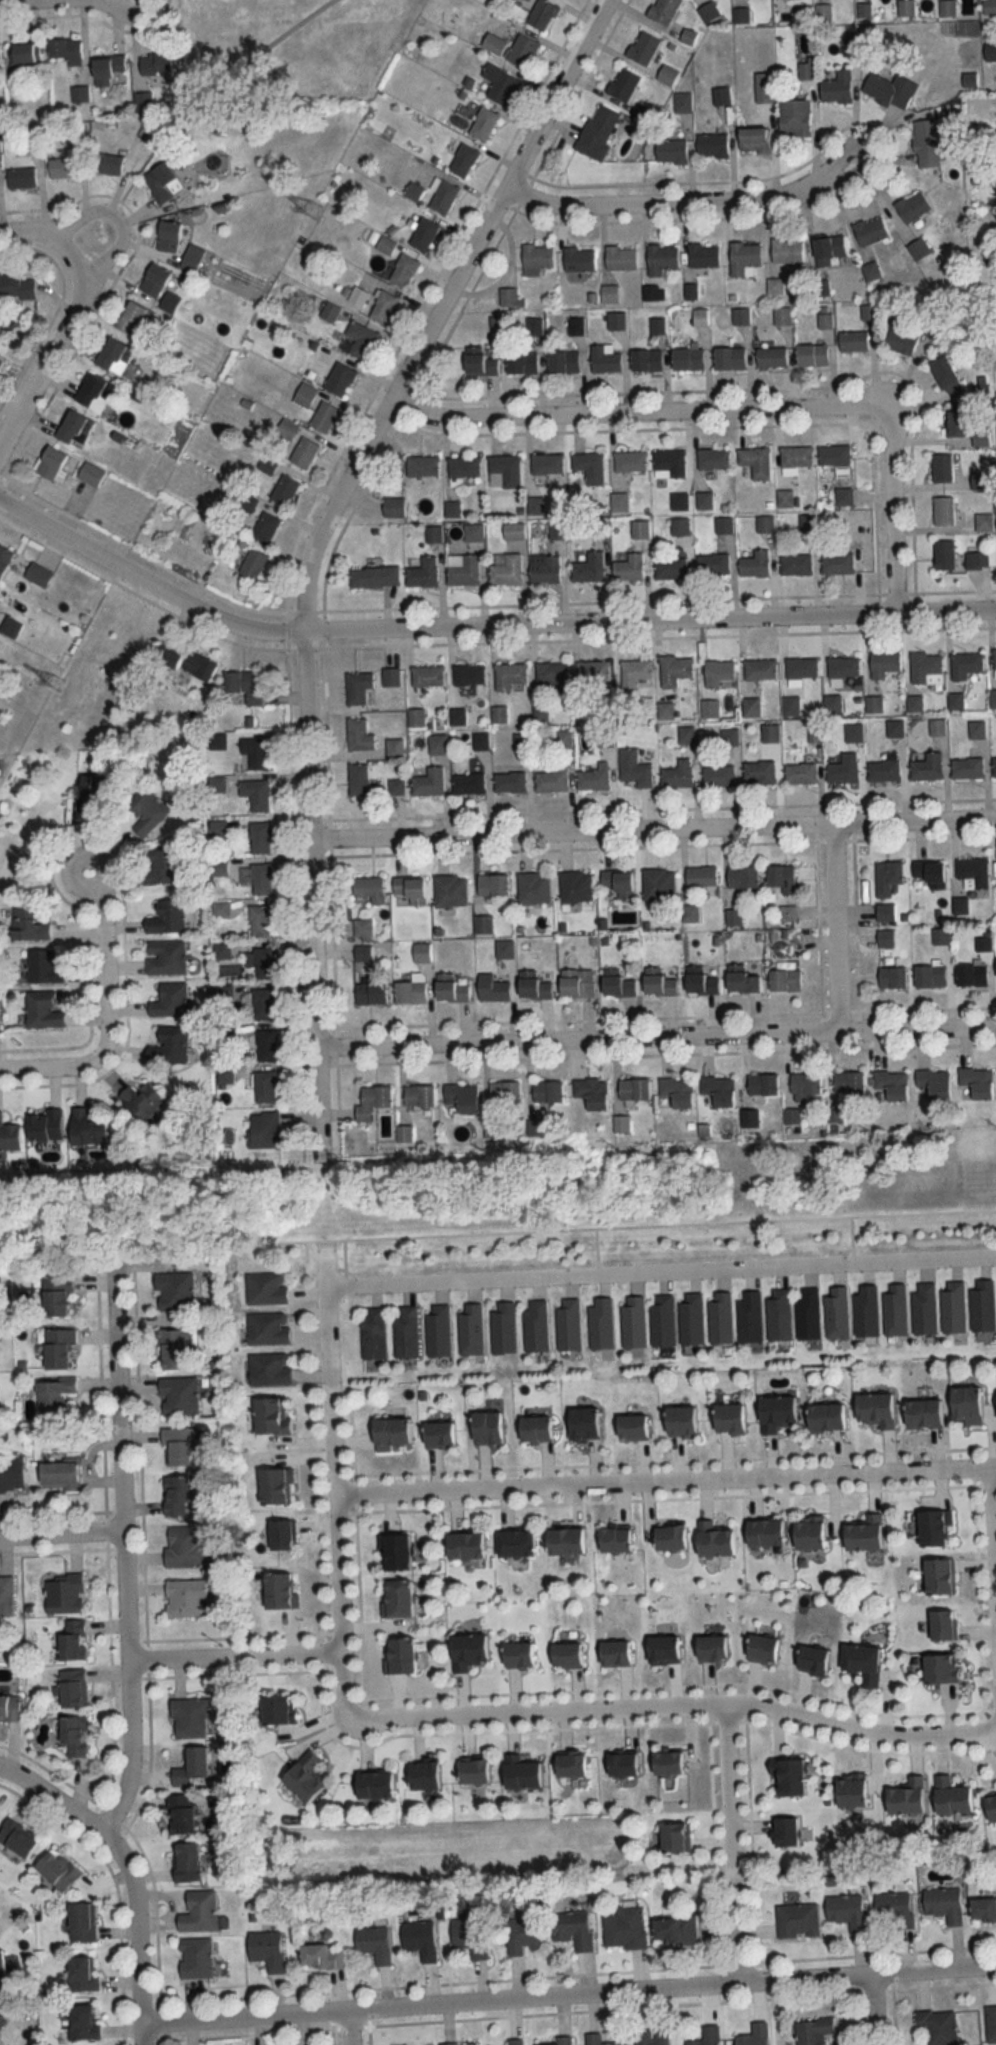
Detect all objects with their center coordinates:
road: (19, 1)
building: (905, 8)
road: (127, 9)
building: (663, 11)
building: (708, 12)
building: (803, 13)
building: (823, 13)
building: (541, 15)
building: (741, 15)
building: (688, 37)
building: (852, 40)
building: (493, 44)
building: (642, 48)
building: (64, 51)
building: (522, 52)
building: (23, 55)
building: (155, 64)
building: (805, 68)
building: (106, 70)
building: (666, 75)
building: (622, 84)
building: (499, 85)
building: (836, 87)
road: (198, 88)
building: (763, 88)
building: (890, 90)
building: (720, 96)
building: (142, 102)
building: (682, 103)
building: (793, 118)
building: (482, 124)
building: (598, 133)
building: (752, 141)
building: (925, 143)
building: (711, 146)
building: (670, 152)
building: (462, 161)
building: (106, 164)
building: (63, 166)
building: (21, 178)
building: (161, 182)
building: (413, 192)
building: (441, 196)
road: (688, 204)
building: (911, 207)
power tower: (314, 212)
road: (120, 223)
building: (870, 231)
road: (36, 233)
building: (422, 235)
building: (167, 236)
building: (384, 244)
building: (828, 250)
building: (918, 250)
building: (786, 251)
building: (702, 255)
building: (537, 257)
building: (190, 258)
building: (620, 258)
building: (661, 259)
building: (743, 259)
building: (578, 260)
building: (402, 270)
building: (871, 272)
building: (153, 280)
building: (15, 286)
building: (821, 288)
building: (357, 295)
building: (508, 297)
building: (382, 307)
building: (868, 312)
building: (781, 315)
building: (740, 316)
building: (132, 317)
building: (699, 317)
building: (931, 318)
building: (615, 320)
building: (534, 325)
building: (575, 326)
building: (902, 339)
building: (357, 340)
building: (853, 342)
road: (48, 348)
building: (811, 355)
building: (113, 356)
building: (771, 357)
building: (729, 358)
building: (604, 359)
building: (687, 359)
building: (646, 360)
building: (0, 361)
building: (480, 361)
building: (522, 361)
building: (563, 362)
building: (945, 375)
building: (339, 379)
building: (93, 393)
building: (304, 394)
road: (639, 413)
building: (323, 417)
building: (955, 422)
building: (73, 429)
building: (302, 452)
building: (833, 455)
building: (795, 456)
building: (713, 459)
building: (629, 461)
building: (755, 462)
building: (51, 463)
building: (668, 463)
building: (546, 464)
building: (266, 465)
building: (421, 465)
building: (464, 466)
building: (588, 467)
building: (942, 468)
building: (503, 471)
building: (90, 474)
building: (980, 481)
building: (283, 489)
building: (784, 499)
building: (704, 500)
building: (679, 502)
building: (393, 507)
road: (892, 510)
building: (943, 510)
building: (764, 523)
building: (723, 525)
building: (264, 526)
building: (679, 527)
building: (639, 529)
building: (475, 530)
road: (312, 539)
building: (943, 554)
building: (6, 560)
building: (976, 560)
building: (252, 563)
building: (836, 563)
building: (712, 564)
building: (754, 564)
building: (795, 565)
building: (544, 568)
building: (588, 568)
building: (628, 568)
building: (670, 568)
building: (462, 569)
building: (505, 569)
building: (423, 572)
building: (42, 575)
building: (373, 577)
building: (0, 588)
road: (483, 625)
building: (14, 628)
building: (166, 656)
building: (994, 659)
building: (883, 664)
building: (965, 665)
building: (198, 666)
building: (842, 666)
building: (801, 667)
building: (925, 668)
building: (759, 669)
building: (674, 670)
building: (593, 671)
building: (634, 672)
building: (717, 672)
building: (468, 674)
building: (550, 674)
building: (509, 675)
building: (427, 676)
building: (390, 677)
power tower: (56, 684)
building: (242, 686)
building: (357, 687)
building: (914, 702)
building: (415, 717)
building: (936, 727)
building: (976, 729)
building: (853, 732)
building: (769, 733)
building: (686, 734)
building: (358, 735)
building: (731, 736)
building: (564, 738)
building: (217, 742)
building: (437, 744)
building: (394, 747)
building: (255, 752)
building: (994, 766)
building: (927, 767)
building: (966, 767)
building: (634, 768)
building: (843, 769)
building: (883, 770)
building: (758, 772)
building: (799, 773)
building: (677, 774)
building: (718, 776)
building: (593, 778)
building: (357, 779)
building: (552, 779)
building: (428, 782)
building: (509, 782)
building: (468, 783)
building: (395, 786)
building: (255, 794)
building: (90, 797)
building: (146, 810)
road: (654, 828)
building: (260, 838)
building: (158, 866)
building: (236, 873)
building: (972, 873)
building: (928, 875)
building: (700, 877)
building: (742, 877)
building: (780, 878)
building: (887, 878)
building: (261, 879)
building: (618, 883)
building: (657, 884)
building: (492, 885)
building: (575, 886)
building: (533, 888)
building: (410, 889)
building: (450, 891)
building: (367, 893)
building: (885, 913)
building: (166, 917)
building: (733, 917)
building: (261, 921)
building: (27, 925)
building: (483, 925)
road: (834, 927)
building: (940, 937)
building: (885, 938)
building: (362, 953)
building: (421, 953)
building: (165, 957)
building: (263, 963)
building: (43, 967)
building: (971, 974)
building: (929, 976)
building: (891, 977)
building: (741, 980)
building: (784, 980)
building: (700, 981)
building: (576, 982)
building: (616, 983)
building: (658, 983)
building: (532, 986)
road: (102, 988)
building: (450, 989)
building: (492, 989)
building: (411, 990)
building: (370, 993)
building: (169, 1000)
building: (263, 1004)
building: (42, 1010)
road: (658, 1035)
building: (168, 1045)
building: (266, 1045)
road: (23, 1068)
building: (848, 1082)
building: (977, 1082)
building: (762, 1084)
building: (892, 1084)
building: (934, 1084)
building: (804, 1085)
building: (264, 1087)
building: (633, 1089)
building: (719, 1090)
building: (504, 1092)
building: (677, 1092)
building: (547, 1093)
building: (591, 1093)
building: (418, 1096)
building: (462, 1098)
building: (141, 1101)
building: (371, 1101)
building: (44, 1125)
building: (85, 1127)
building: (264, 1130)
building: (9, 1136)
road: (649, 1223)
road: (661, 1270)
building: (265, 1289)
building: (173, 1292)
building: (55, 1297)
building: (982, 1306)
building: (953, 1308)
building: (924, 1309)
building: (895, 1311)
building: (837, 1312)
building: (866, 1312)
building: (808, 1314)
building: (779, 1315)
building: (720, 1317)
building: (750, 1317)
building: (692, 1319)
building: (663, 1320)
building: (633, 1322)
building: (601, 1324)
building: (568, 1325)
building: (535, 1327)
building: (503, 1328)
building: (268, 1329)
building: (470, 1330)
building: (438, 1331)
building: (406, 1332)
building: (373, 1334)
building: (57, 1349)
building: (172, 1350)
building: (269, 1369)
building: (52, 1396)
building: (178, 1397)
building: (966, 1406)
building: (875, 1411)
building: (776, 1413)
building: (923, 1414)
building: (270, 1416)
building: (825, 1417)
building: (728, 1419)
building: (680, 1422)
building: (583, 1424)
building: (632, 1427)
building: (486, 1429)
building: (535, 1429)
building: (390, 1434)
building: (438, 1435)
building: (177, 1447)
building: (11, 1474)
building: (58, 1477)
road: (666, 1479)
road: (336, 1482)
building: (274, 1486)
building: (175, 1496)
road: (992, 1525)
building: (932, 1528)
building: (764, 1533)
building: (809, 1533)
road: (59, 1534)
building: (864, 1534)
building: (280, 1535)
building: (669, 1537)
building: (614, 1539)
building: (713, 1540)
building: (564, 1541)
building: (514, 1543)
building: (464, 1546)
building: (184, 1547)
road: (119, 1548)
building: (394, 1553)
building: (939, 1577)
building: (278, 1592)
building: (64, 1595)
building: (5, 1597)
building: (183, 1598)
building: (396, 1599)
building: (941, 1626)
building: (72, 1640)
building: (711, 1649)
building: (761, 1649)
building: (662, 1650)
building: (466, 1652)
building: (614, 1654)
building: (399, 1656)
building: (517, 1656)
building: (565, 1656)
road: (233, 1658)
building: (812, 1659)
building: (859, 1659)
building: (939, 1669)
building: (71, 1689)
road: (676, 1704)
building: (9, 1708)
building: (277, 1710)
building: (188, 1719)
building: (73, 1736)
building: (667, 1763)
building: (621, 1764)
building: (570, 1765)
building: (191, 1768)
building: (472, 1772)
building: (520, 1773)
building: (423, 1776)
building: (303, 1777)
building: (789, 1777)
building: (373, 1785)
building: (851, 1791)
building: (951, 1797)
building: (906, 1798)
road: (51, 1802)
building: (991, 1808)
building: (181, 1815)
building: (784, 1832)
building: (16, 1838)
building: (674, 1838)
road: (731, 1842)
building: (184, 1864)
building: (56, 1873)
building: (943, 1905)
building: (895, 1909)
building: (983, 1911)
building: (847, 1912)
building: (197, 1913)
building: (796, 1921)
building: (81, 1923)
building: (624, 1928)
building: (571, 1929)
building: (673, 1929)
building: (521, 1935)
road: (132, 1936)
building: (468, 1937)
building: (419, 1939)
building: (372, 1944)
building: (265, 1950)
building: (319, 1958)
building: (194, 1959)
building: (2, 1972)
building: (81, 1975)
road: (566, 1996)
road: (872, 2010)
building: (1, 2021)
building: (81, 2023)
building: (991, 2024)
road: (343, 2027)
building: (937, 2027)
building: (813, 2031)
building: (753, 2035)
building: (706, 2036)
building: (649, 2037)
building: (561, 2040)
building: (596, 2040)
building: (514, 2042)

